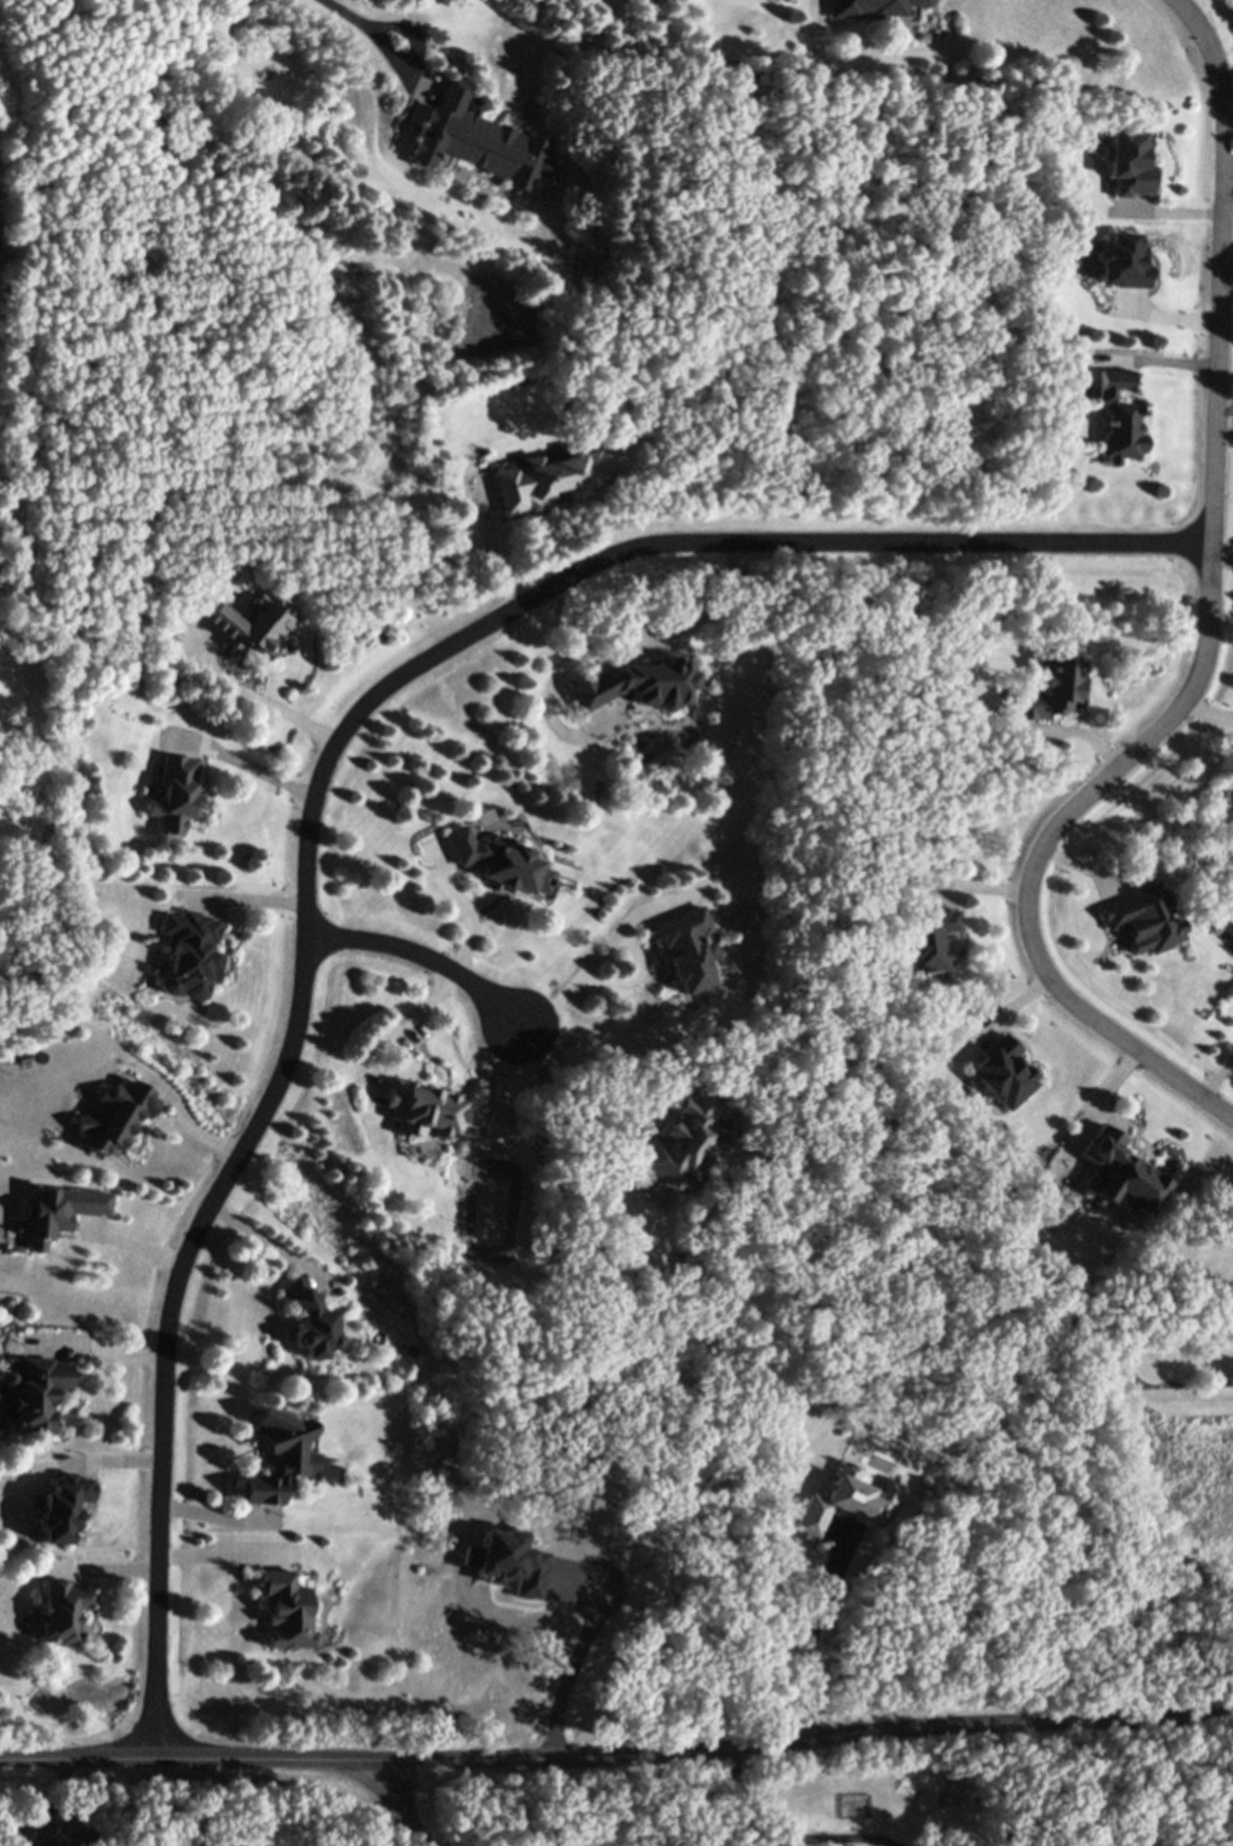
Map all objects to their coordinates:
road: (815, 7)
building: (873, 8)
road: (376, 36)
road: (2, 68)
building: (429, 82)
building: (476, 141)
building: (1128, 164)
building: (1120, 263)
road: (1220, 266)
building: (1117, 420)
building: (543, 480)
building: (247, 622)
park: (28, 625)
road: (650, 638)
building: (638, 682)
building: (1044, 686)
road: (261, 702)
road: (241, 767)
road: (7, 792)
building: (175, 792)
road: (315, 796)
park: (827, 813)
road: (1044, 849)
building: (501, 859)
road: (241, 901)
road: (468, 906)
building: (1141, 918)
building: (924, 936)
building: (188, 952)
building: (687, 952)
road: (598, 953)
road: (422, 957)
road: (394, 1029)
building: (997, 1071)
road: (596, 1100)
building: (423, 1107)
building: (113, 1115)
road: (184, 1116)
building: (678, 1140)
building: (1115, 1173)
road: (270, 1243)
road: (122, 1244)
building: (310, 1321)
road: (97, 1344)
building: (34, 1394)
building: (279, 1458)
building: (846, 1503)
building: (59, 1509)
road: (226, 1555)
building: (61, 1612)
building: (289, 1613)
road: (588, 1617)
road: (809, 1646)
park: (206, 1713)
road: (213, 1727)
road: (816, 1739)
road: (199, 1760)
road: (401, 1805)
building: (854, 1807)
building: (48, 1834)
road: (792, 1834)

